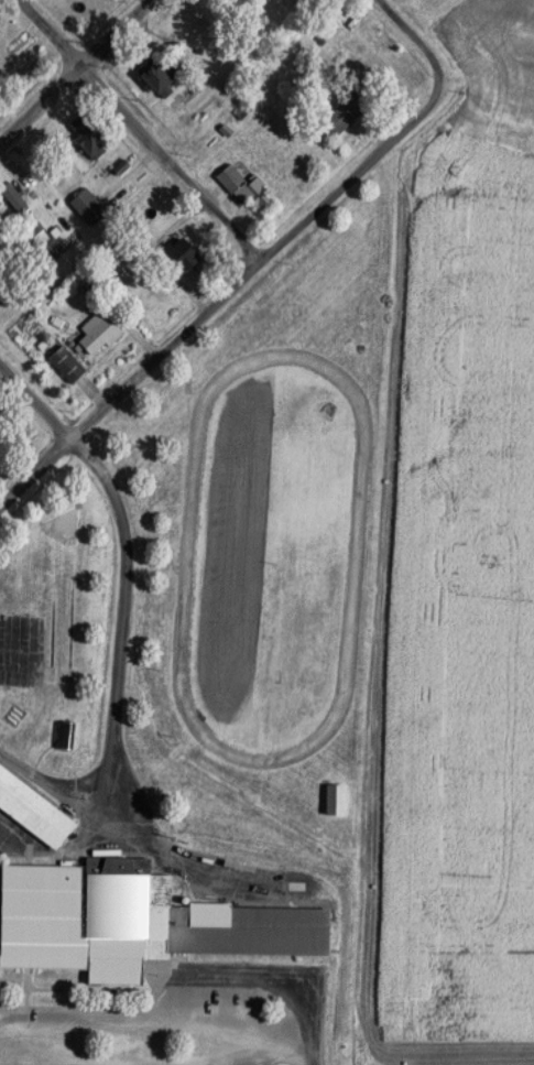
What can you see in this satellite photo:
road: (422, 46)
building: (18, 67)
road: (75, 70)
building: (164, 76)
building: (349, 112)
road: (139, 130)
building: (91, 134)
building: (248, 187)
building: (18, 202)
building: (90, 206)
building: (0, 246)
building: (186, 254)
road: (215, 302)
building: (100, 333)
building: (68, 365)
road: (35, 401)
road: (120, 604)
road: (55, 791)
building: (338, 798)
building: (34, 808)
building: (139, 921)
road: (181, 1017)

